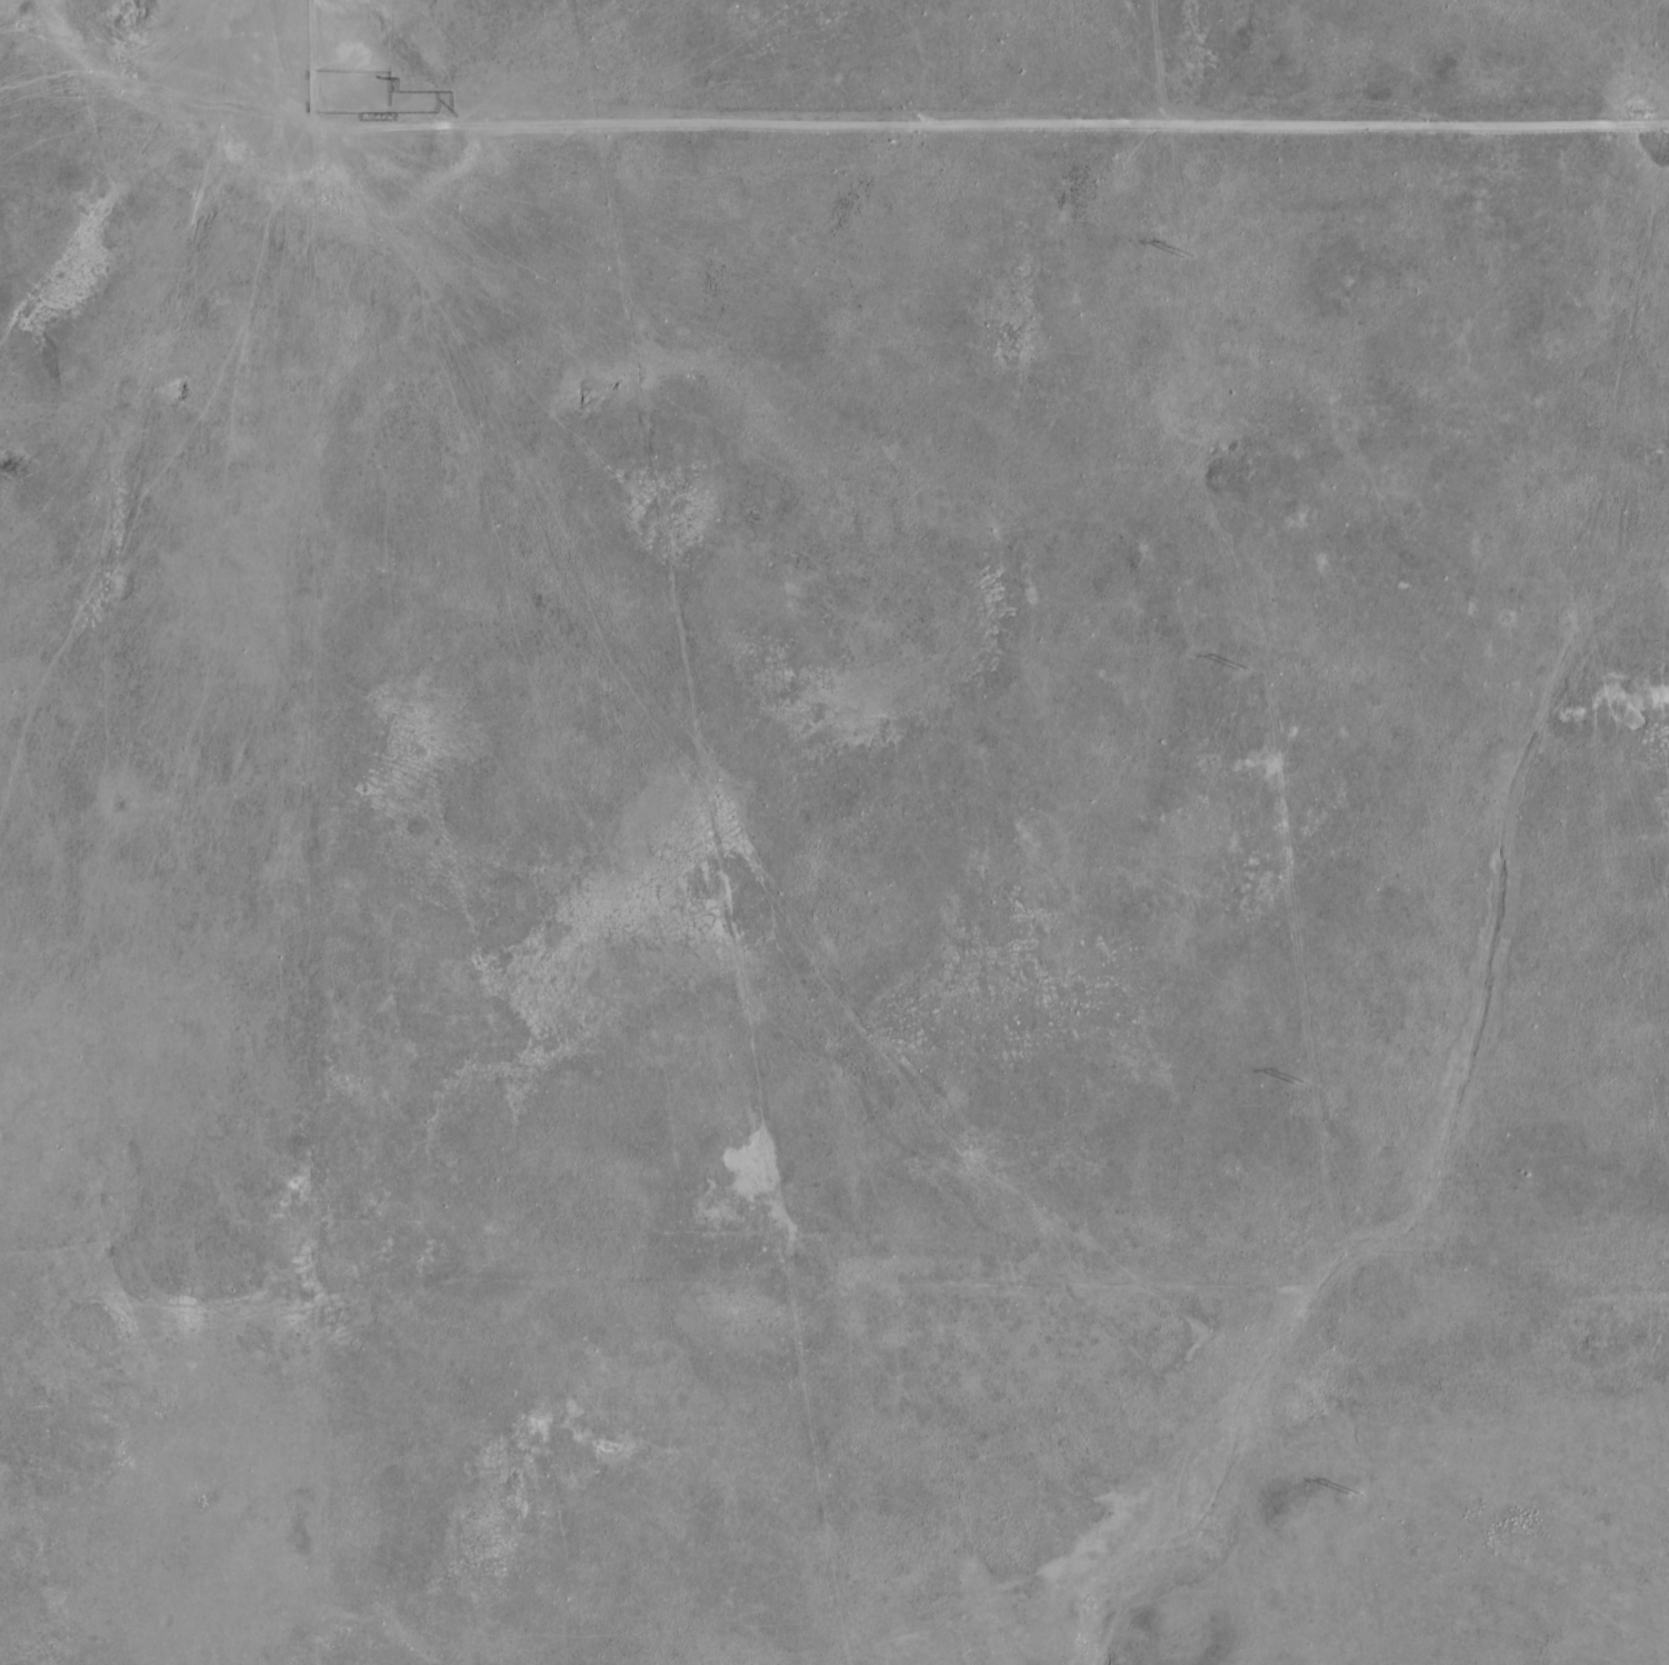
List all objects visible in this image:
power tower: (1188, 255)
power tower: (1245, 669)
power tower: (1300, 1083)
power tower: (1356, 1493)

